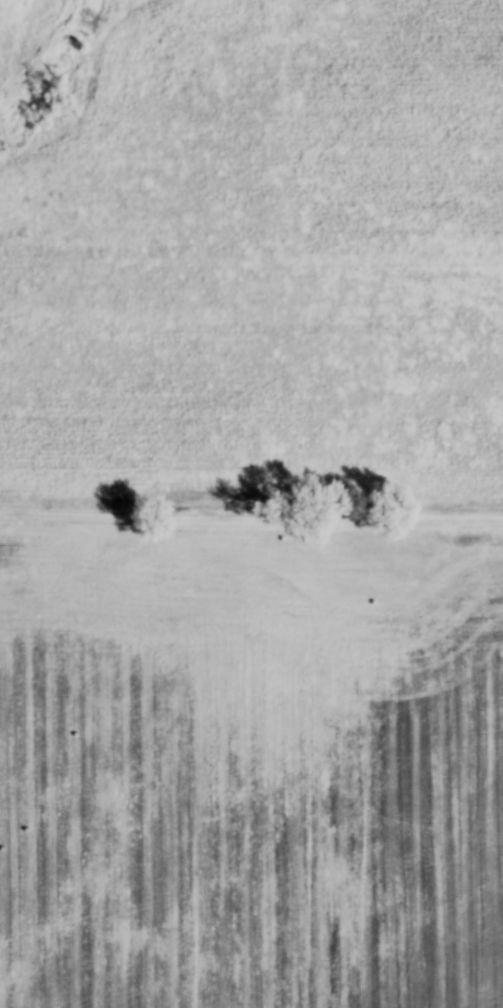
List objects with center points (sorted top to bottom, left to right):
road: (251, 516)

